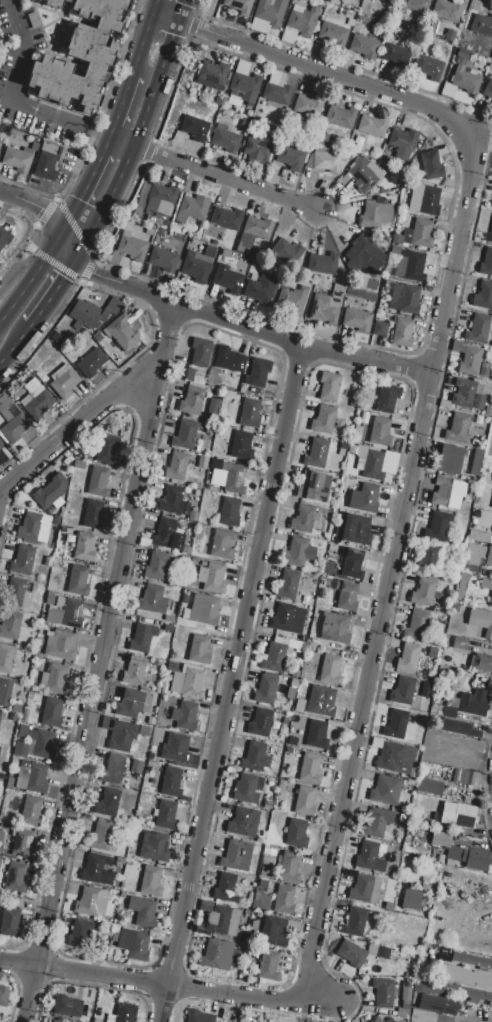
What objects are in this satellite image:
building: (31, 0)
building: (37, 0)
building: (389, 1)
road: (154, 5)
building: (239, 5)
building: (414, 5)
building: (446, 10)
building: (271, 11)
building: (303, 21)
building: (482, 24)
building: (333, 34)
building: (450, 35)
road: (142, 41)
building: (364, 47)
building: (444, 50)
building: (396, 54)
building: (80, 56)
building: (427, 66)
road: (313, 67)
building: (213, 75)
building: (465, 81)
building: (244, 83)
road: (13, 86)
building: (447, 90)
building: (488, 90)
building: (278, 93)
building: (309, 105)
road: (121, 106)
building: (340, 116)
building: (245, 123)
building: (373, 125)
building: (195, 127)
road: (137, 133)
road: (95, 134)
building: (322, 137)
building: (225, 138)
building: (403, 140)
building: (0, 142)
road: (107, 148)
building: (257, 150)
building: (375, 152)
building: (348, 155)
building: (290, 157)
building: (17, 159)
building: (325, 159)
building: (46, 161)
building: (431, 165)
road: (214, 173)
building: (363, 176)
building: (345, 178)
building: (161, 197)
road: (83, 199)
building: (430, 201)
traffic signals: (82, 202)
building: (491, 205)
road: (39, 207)
building: (191, 208)
traffic signals: (43, 209)
building: (376, 213)
building: (226, 218)
building: (166, 223)
building: (149, 230)
building: (159, 232)
building: (252, 233)
building: (419, 234)
building: (5, 237)
building: (488, 237)
building: (132, 247)
building: (395, 249)
building: (287, 251)
building: (257, 252)
building: (363, 255)
building: (163, 259)
road: (27, 261)
building: (486, 262)
building: (322, 263)
building: (198, 264)
building: (411, 267)
traffic signals: (90, 271)
traffic signals: (63, 275)
building: (227, 279)
road: (29, 280)
building: (371, 284)
building: (388, 284)
building: (261, 289)
road: (51, 291)
building: (360, 294)
building: (485, 296)
building: (293, 298)
building: (405, 299)
building: (325, 308)
building: (88, 315)
building: (357, 319)
road: (237, 326)
building: (380, 329)
building: (478, 330)
building: (402, 332)
building: (123, 333)
road: (14, 342)
building: (200, 352)
building: (230, 359)
building: (471, 361)
building: (92, 363)
building: (190, 375)
building: (257, 375)
building: (64, 381)
building: (329, 386)
building: (467, 395)
building: (387, 399)
building: (36, 400)
building: (192, 401)
building: (213, 409)
building: (249, 413)
road: (82, 416)
building: (324, 420)
building: (491, 421)
building: (12, 424)
building: (458, 427)
building: (380, 432)
building: (185, 435)
building: (489, 440)
building: (1, 444)
building: (242, 446)
building: (105, 450)
building: (491, 450)
building: (341, 452)
building: (349, 453)
building: (316, 454)
building: (80, 455)
building: (450, 460)
building: (215, 462)
building: (202, 463)
building: (476, 463)
building: (79, 465)
building: (373, 465)
building: (176, 466)
building: (234, 479)
building: (99, 482)
building: (312, 487)
building: (51, 490)
building: (448, 493)
building: (364, 499)
building: (174, 501)
building: (229, 512)
building: (93, 515)
building: (193, 516)
building: (304, 518)
building: (437, 526)
building: (34, 527)
building: (353, 529)
building: (168, 535)
building: (479, 536)
building: (222, 545)
building: (85, 547)
building: (186, 550)
building: (298, 553)
building: (474, 554)
building: (489, 556)
building: (331, 557)
building: (429, 559)
building: (22, 560)
building: (353, 564)
building: (158, 565)
road: (392, 568)
building: (211, 578)
building: (77, 581)
building: (287, 584)
building: (486, 584)
building: (363, 589)
building: (461, 591)
building: (425, 593)
building: (17, 594)
building: (346, 596)
building: (50, 598)
building: (305, 599)
building: (152, 600)
building: (491, 603)
building: (203, 609)
building: (360, 612)
building: (65, 613)
building: (282, 617)
building: (169, 619)
building: (481, 621)
building: (416, 625)
building: (12, 626)
building: (168, 628)
building: (335, 628)
building: (142, 638)
building: (460, 643)
building: (294, 644)
building: (60, 645)
building: (199, 650)
building: (432, 653)
building: (408, 657)
building: (6, 658)
building: (274, 658)
road: (97, 663)
building: (481, 663)
building: (134, 670)
building: (330, 670)
building: (295, 673)
building: (55, 679)
building: (187, 683)
building: (294, 683)
road: (225, 684)
building: (426, 689)
building: (266, 690)
building: (5, 691)
building: (402, 691)
building: (290, 693)
building: (155, 698)
building: (474, 702)
building: (133, 703)
building: (325, 703)
building: (16, 708)
building: (299, 709)
building: (52, 712)
building: (449, 712)
building: (0, 714)
building: (25, 716)
building: (184, 716)
building: (298, 720)
building: (261, 723)
building: (395, 724)
building: (459, 728)
building: (144, 732)
building: (10, 733)
building: (119, 734)
building: (317, 735)
building: (43, 744)
building: (0, 746)
building: (0, 748)
building: (176, 749)
building: (289, 750)
building: (255, 757)
building: (395, 757)
building: (150, 763)
building: (136, 766)
building: (310, 768)
building: (113, 770)
building: (32, 777)
building: (463, 777)
building: (171, 782)
building: (9, 783)
building: (281, 784)
building: (429, 786)
building: (247, 788)
building: (386, 790)
building: (304, 801)
building: (108, 803)
building: (268, 805)
building: (31, 811)
building: (166, 815)
building: (459, 815)
building: (246, 823)
building: (377, 823)
building: (2, 829)
building: (297, 835)
building: (102, 838)
building: (441, 840)
building: (23, 844)
building: (154, 847)
building: (237, 856)
building: (366, 856)
building: (478, 860)
building: (0, 862)
building: (289, 868)
building: (98, 870)
building: (16, 878)
building: (150, 881)
building: (263, 885)
building: (225, 889)
building: (361, 889)
building: (284, 899)
building: (410, 899)
building: (90, 901)
building: (16, 902)
building: (265, 902)
building: (205, 905)
building: (142, 910)
building: (223, 921)
building: (355, 922)
building: (10, 923)
building: (115, 928)
building: (199, 930)
building: (276, 931)
building: (80, 934)
building: (115, 936)
building: (241, 938)
building: (134, 945)
building: (240, 946)
building: (378, 951)
building: (351, 953)
building: (220, 956)
building: (471, 960)
building: (268, 966)
road: (171, 986)
building: (462, 992)
building: (383, 993)
building: (4, 996)
building: (488, 996)
building: (406, 997)
building: (434, 1004)
building: (67, 1006)
building: (125, 1012)
building: (421, 1016)
building: (199, 1017)
building: (377, 1020)
building: (390, 1020)

